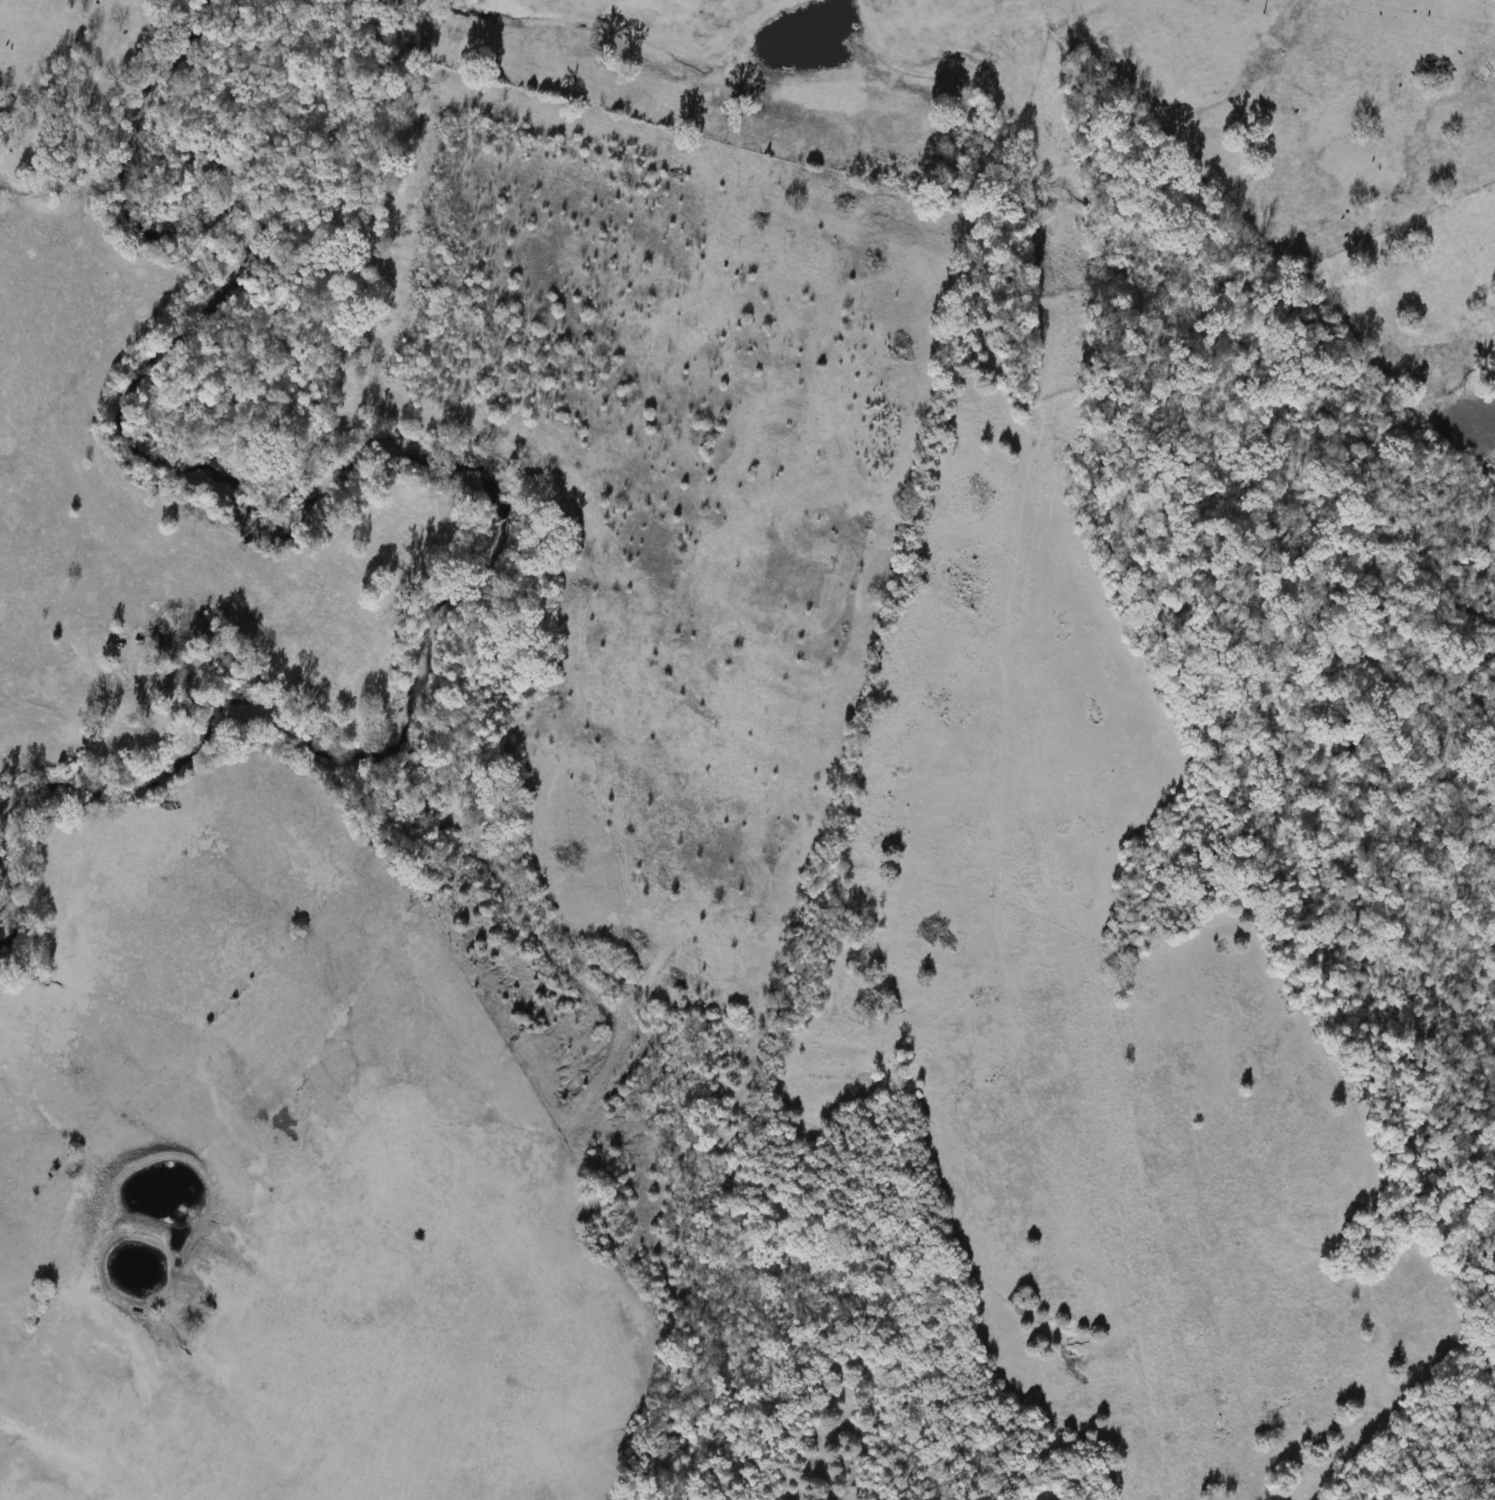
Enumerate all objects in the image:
power tower: (1263, 12)

